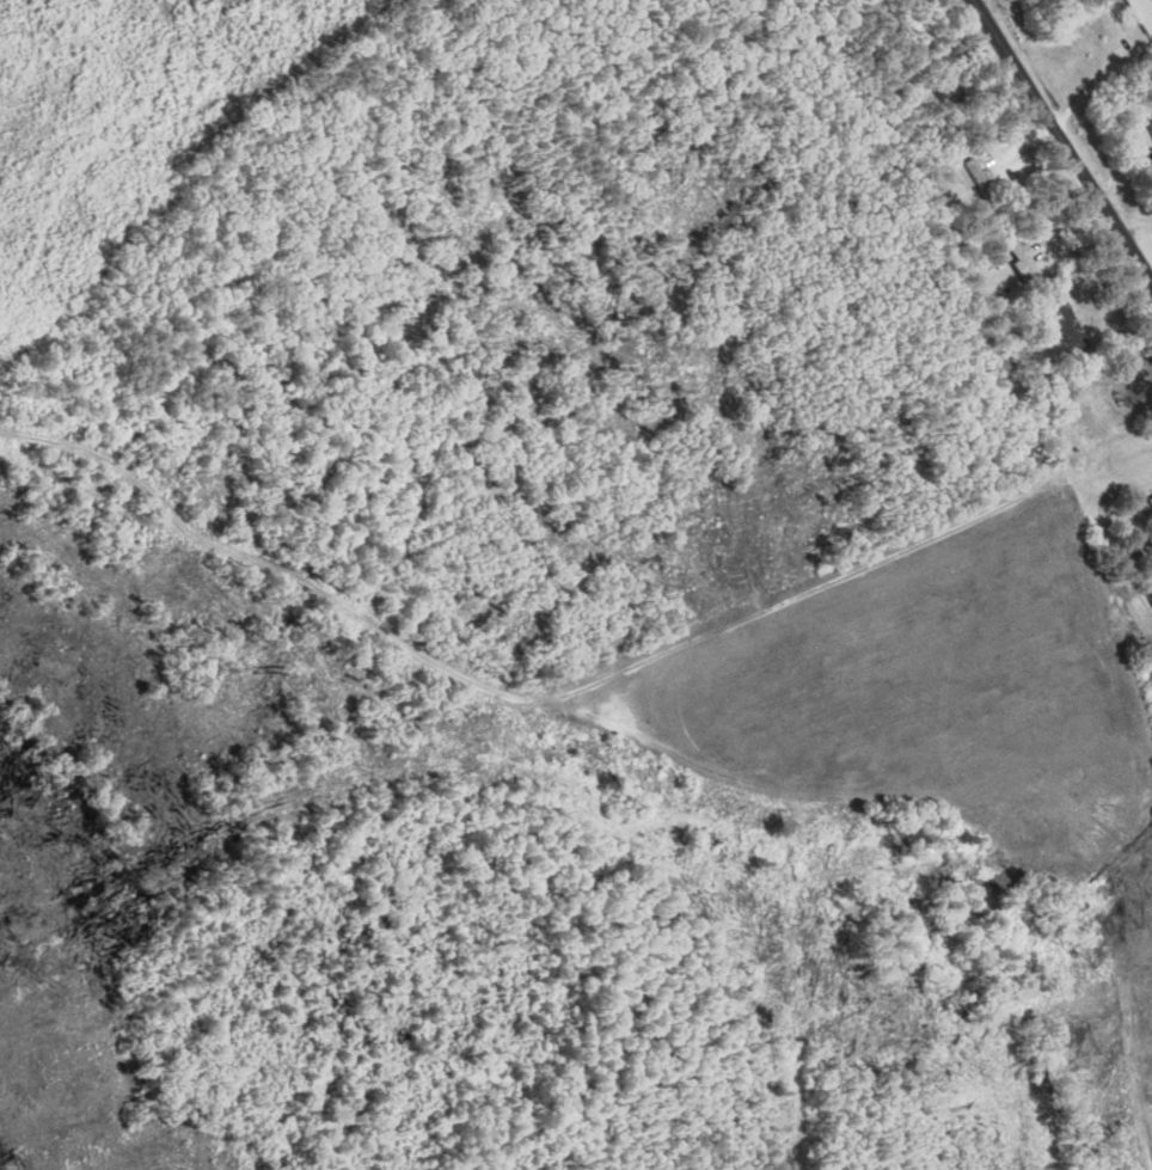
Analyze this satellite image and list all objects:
building: (1144, 12)
building: (1150, 115)
road: (1062, 140)
building: (985, 184)
building: (1024, 258)
building: (1071, 325)
building: (1151, 501)

